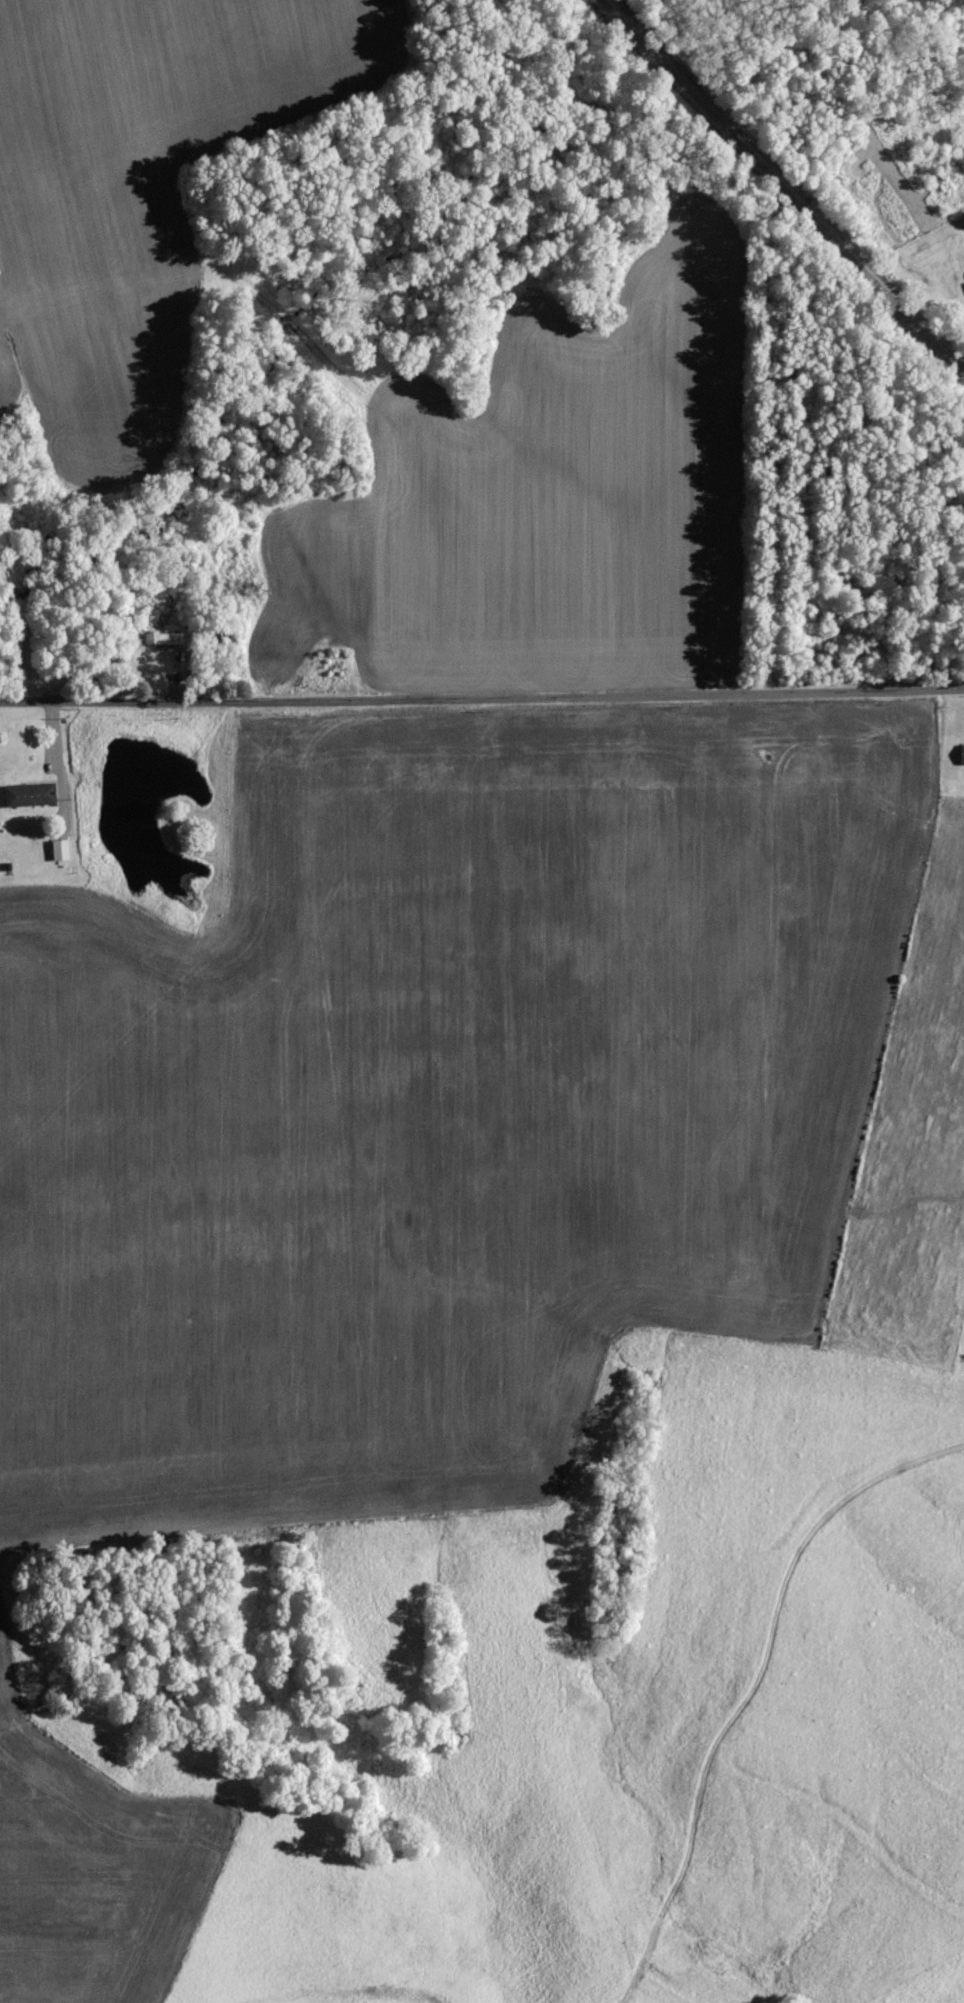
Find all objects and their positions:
railway: (784, 188)
road: (482, 695)
building: (962, 755)
road: (59, 760)
building: (31, 794)
building: (61, 850)

